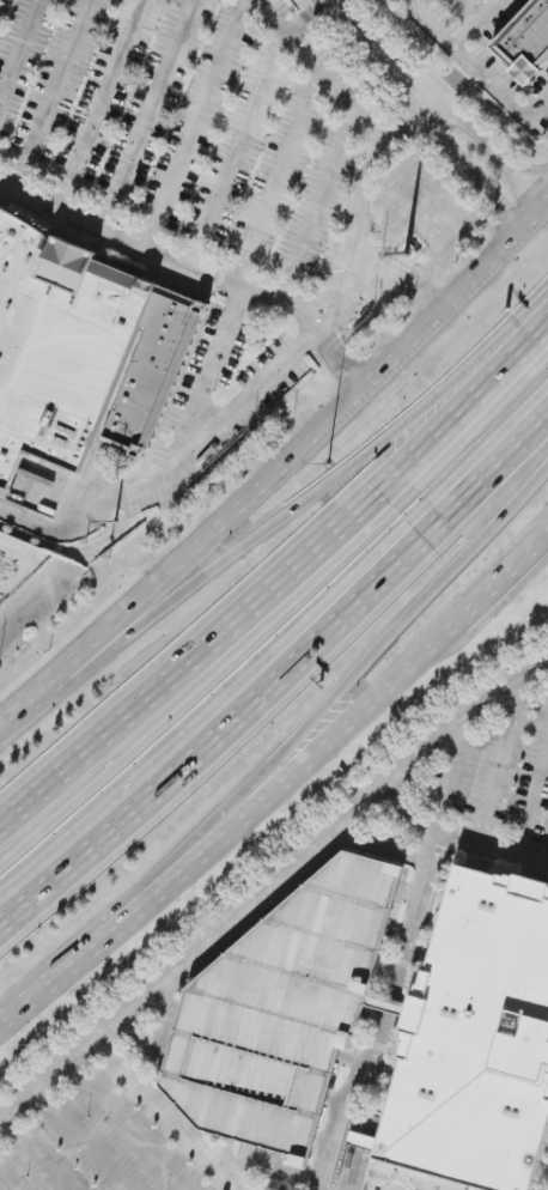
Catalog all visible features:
road: (482, 6)
road: (311, 17)
road: (477, 24)
building: (526, 42)
road: (455, 47)
road: (19, 49)
road: (54, 93)
road: (447, 99)
road: (511, 101)
road: (96, 102)
road: (147, 113)
road: (196, 121)
road: (413, 122)
road: (244, 148)
road: (280, 176)
road: (547, 201)
road: (312, 204)
power tower: (409, 255)
road: (196, 263)
road: (526, 327)
road: (308, 330)
building: (80, 348)
road: (215, 359)
road: (276, 468)
power tower: (121, 520)
road: (252, 540)
road: (542, 550)
road: (542, 552)
road: (258, 588)
road: (498, 591)
road: (372, 667)
road: (286, 690)
road: (328, 745)
road: (497, 766)
road: (453, 778)
parking lot: (495, 784)
road: (531, 805)
road: (409, 813)
road: (385, 848)
road: (270, 890)
road: (142, 906)
road: (407, 965)
road: (44, 988)
building: (285, 1009)
parking garage: (285, 1009)
building: (475, 1048)
road: (169, 1115)
road: (132, 1125)
road: (81, 1140)
parking lot: (104, 1146)
road: (38, 1153)
road: (7, 1182)

